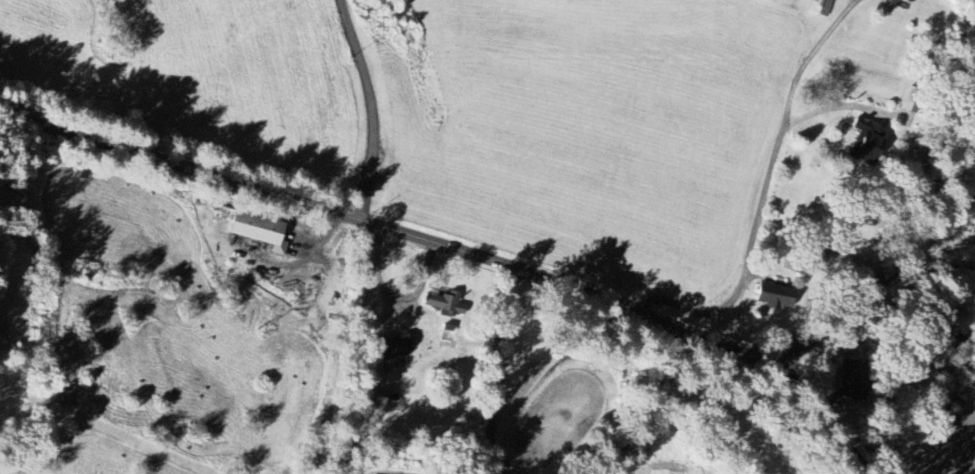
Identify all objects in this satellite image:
building: (820, 7)
road: (371, 108)
building: (866, 141)
road: (394, 229)
building: (260, 230)
road: (753, 238)
road: (880, 278)
river: (961, 287)
building: (776, 295)
building: (446, 303)
river: (965, 334)
building: (393, 348)
road: (495, 369)
road: (822, 415)

